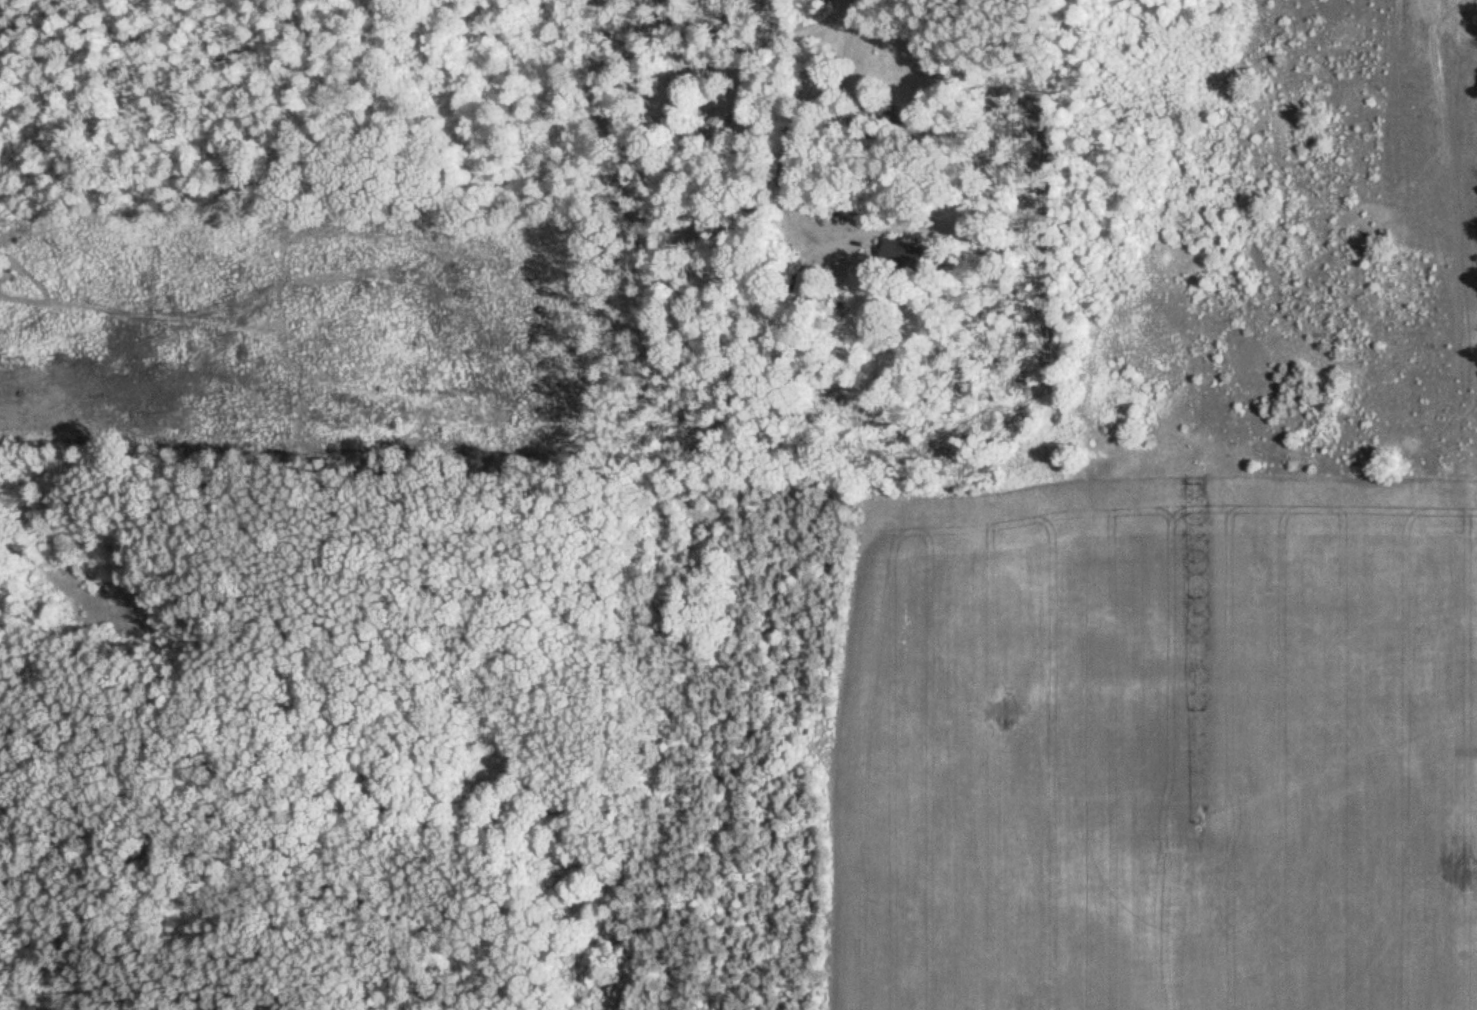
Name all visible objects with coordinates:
building: (717, 114)

